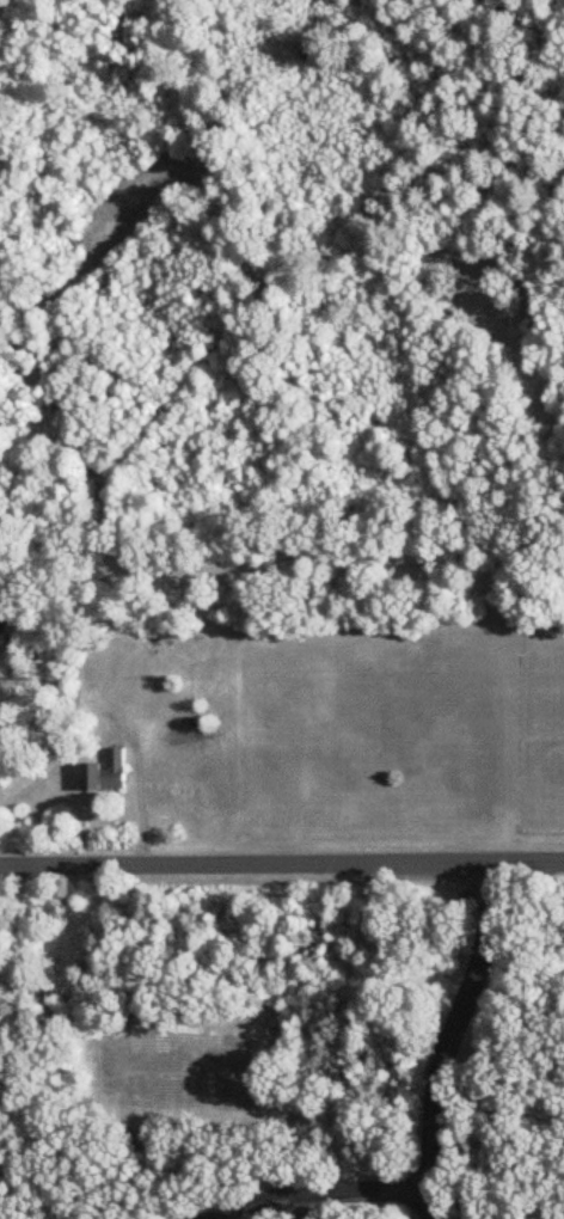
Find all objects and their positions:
building: (109, 773)
road: (281, 864)
road: (448, 1039)
road: (321, 1194)

